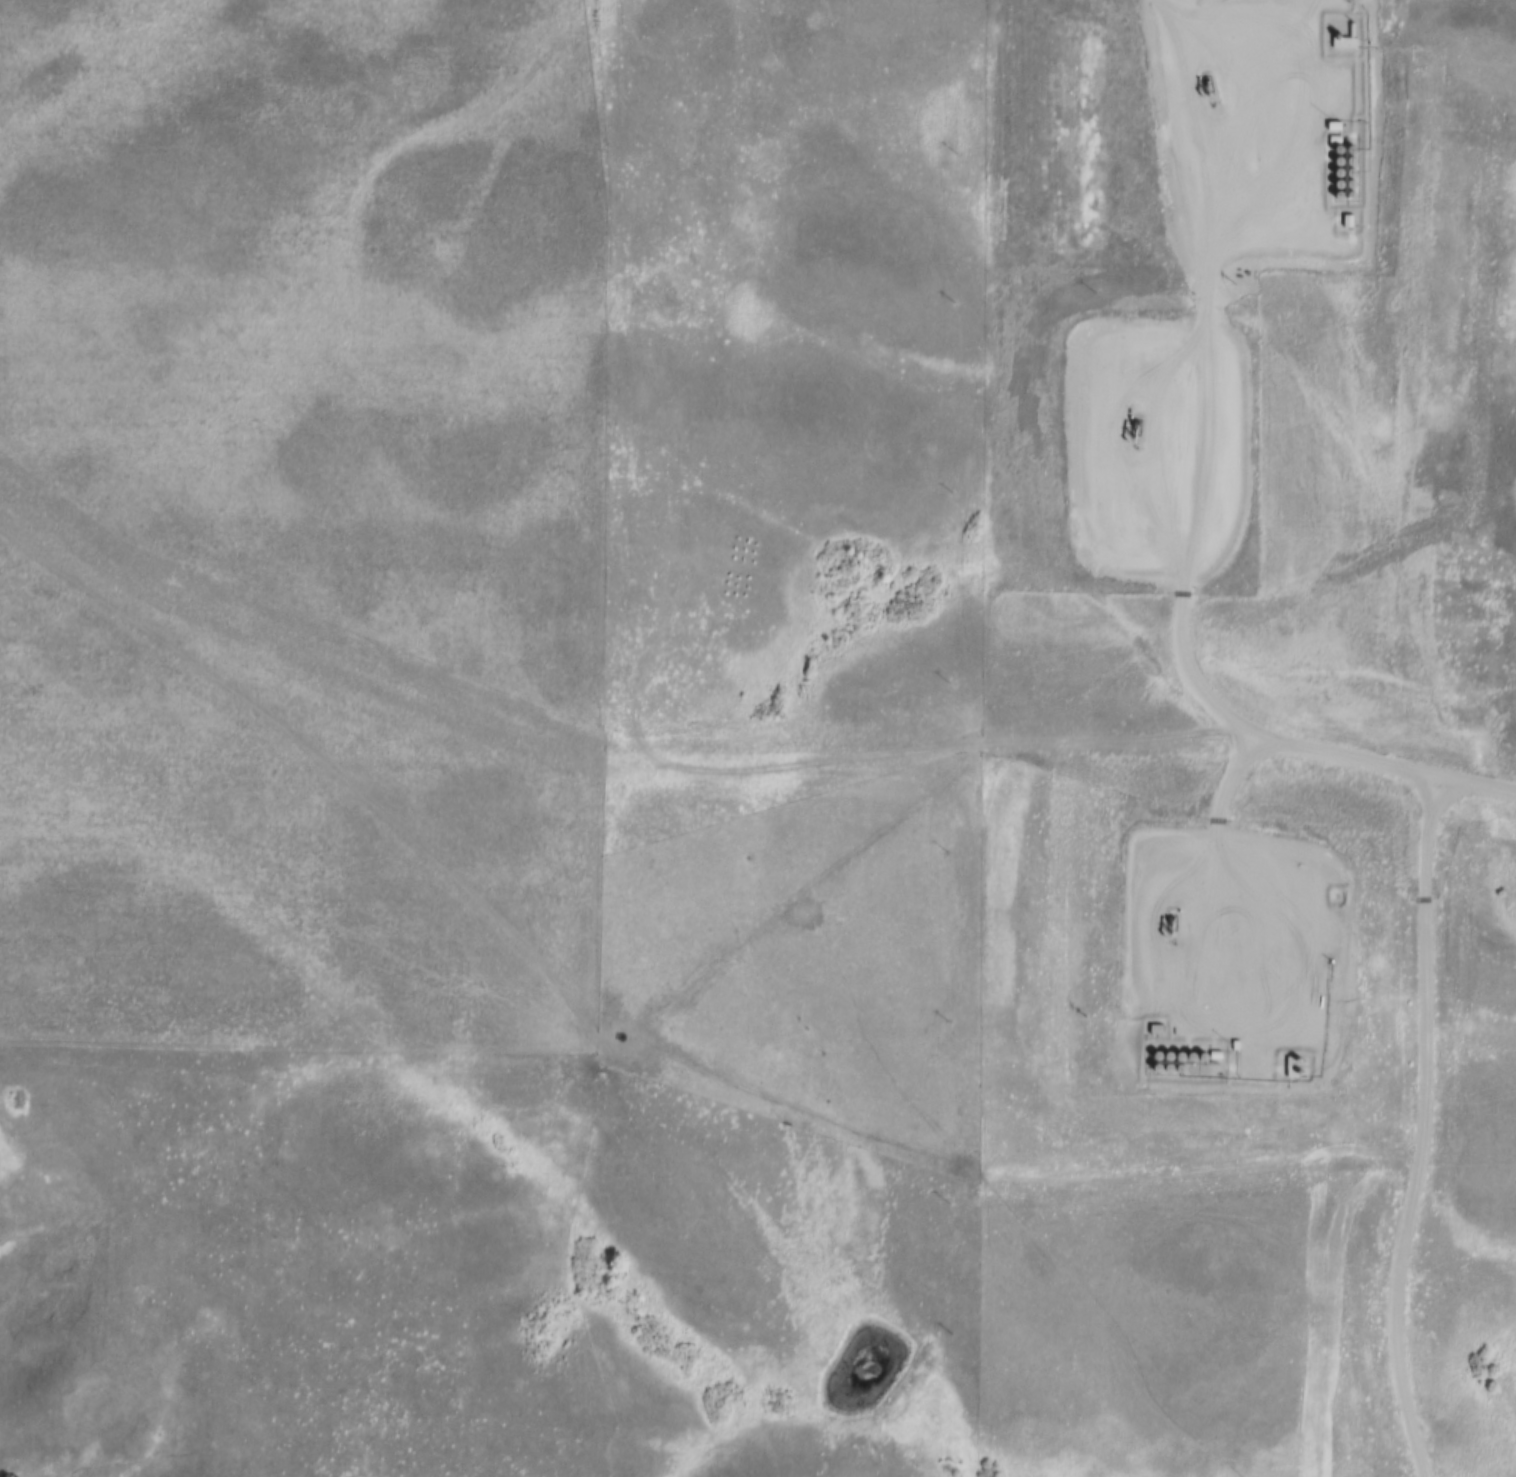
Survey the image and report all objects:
building: (1345, 45)
petroleum well: (1205, 84)
building: (1335, 122)
building: (1342, 144)
storage tank: (1342, 144)
building: (1355, 144)
storage tank: (1355, 144)
building: (1341, 156)
storage tank: (1341, 156)
building: (1354, 156)
storage tank: (1354, 156)
building: (1342, 167)
storage tank: (1342, 167)
building: (1355, 168)
storage tank: (1355, 168)
building: (1355, 178)
storage tank: (1355, 178)
building: (1342, 179)
storage tank: (1342, 179)
building: (1355, 190)
storage tank: (1355, 190)
building: (1342, 191)
storage tank: (1342, 191)
building: (1349, 217)
petroleum well: (1135, 428)
road: (1188, 519)
building: (1312, 832)
petroleum well: (1168, 921)
building: (1158, 1049)
storage tank: (1158, 1049)
building: (1169, 1049)
storage tank: (1169, 1049)
building: (1182, 1050)
storage tank: (1182, 1050)
building: (1194, 1050)
storage tank: (1194, 1050)
building: (1205, 1050)
storage tank: (1205, 1050)
building: (1158, 1063)
storage tank: (1158, 1063)
building: (1170, 1063)
storage tank: (1170, 1063)
building: (1182, 1063)
storage tank: (1182, 1063)
building: (1194, 1063)
storage tank: (1194, 1063)
building: (1295, 1063)
building: (1206, 1064)
storage tank: (1206, 1064)
road: (1423, 1132)

